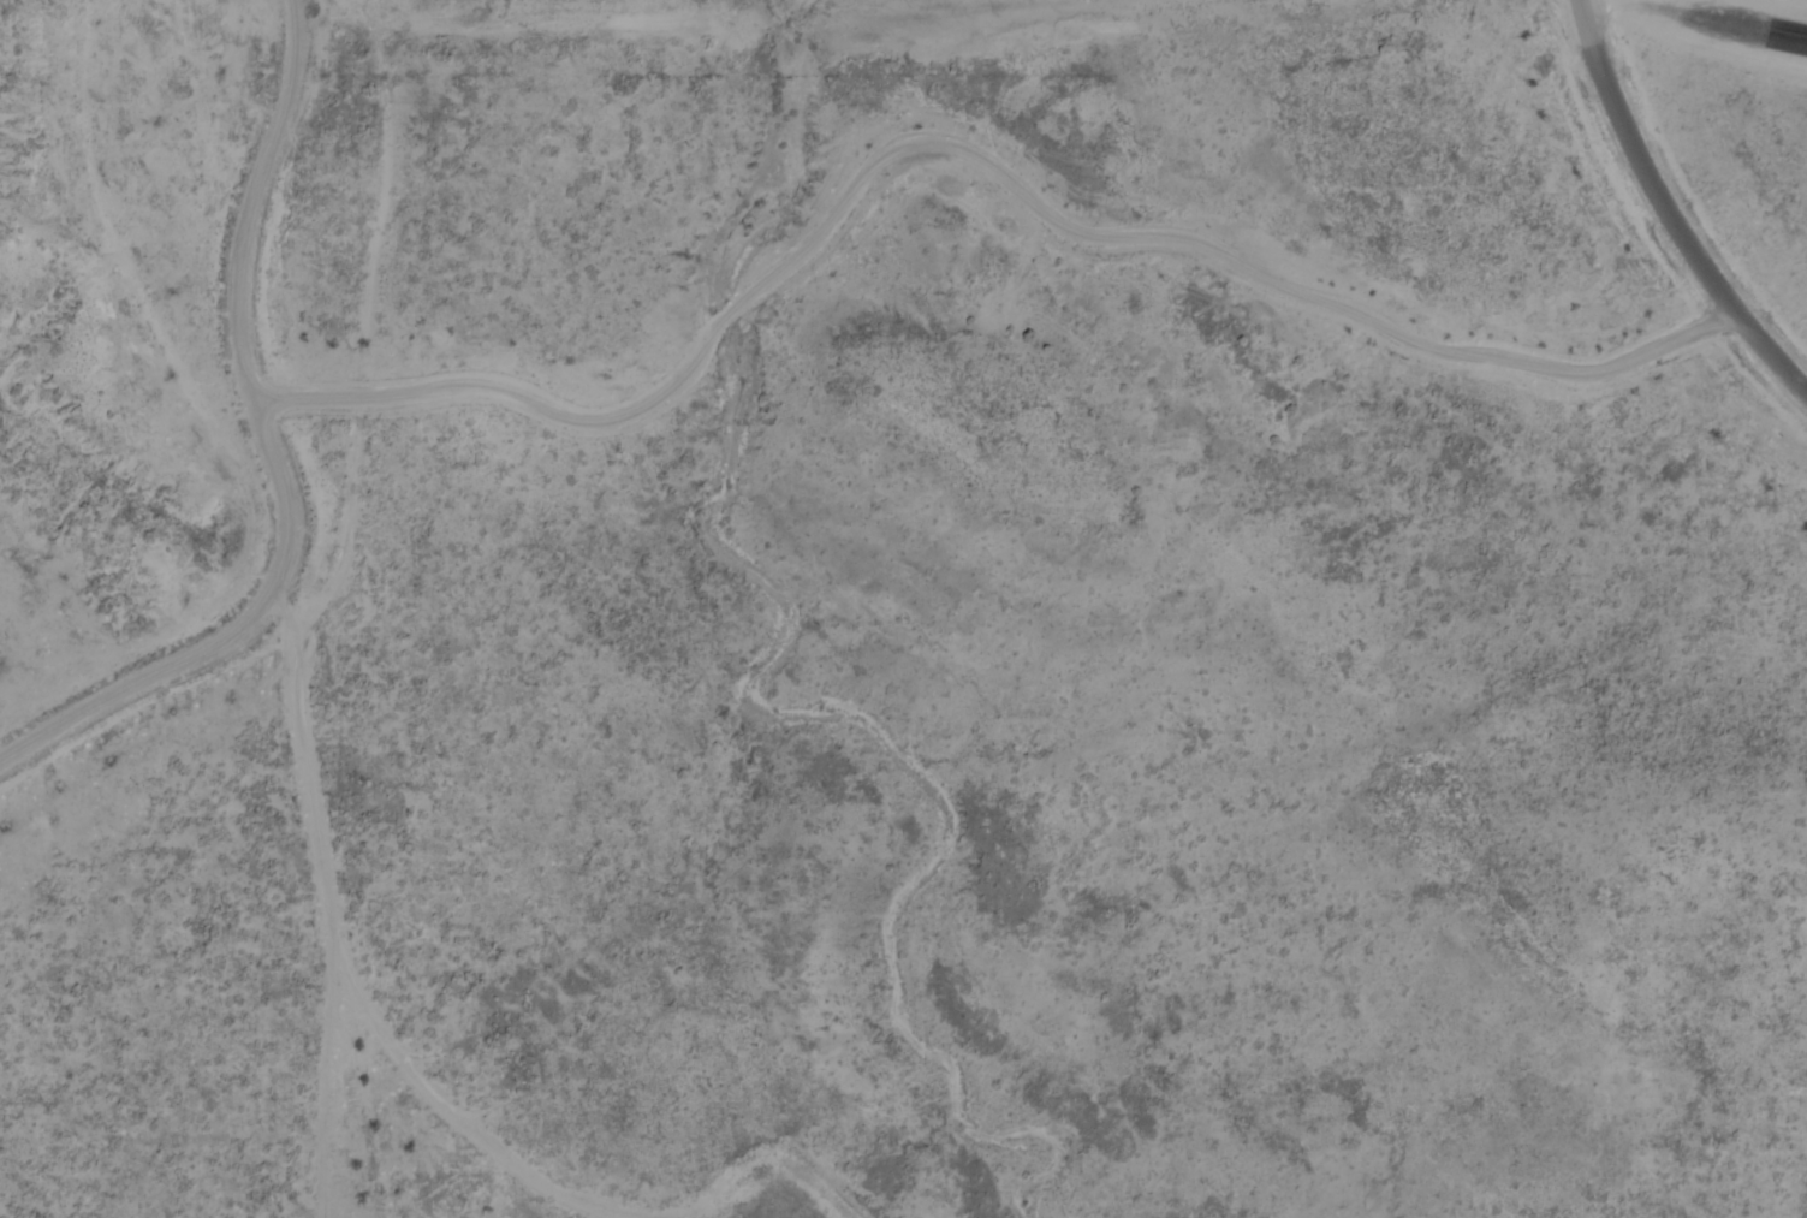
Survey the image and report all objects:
road: (1668, 209)
road: (272, 453)

